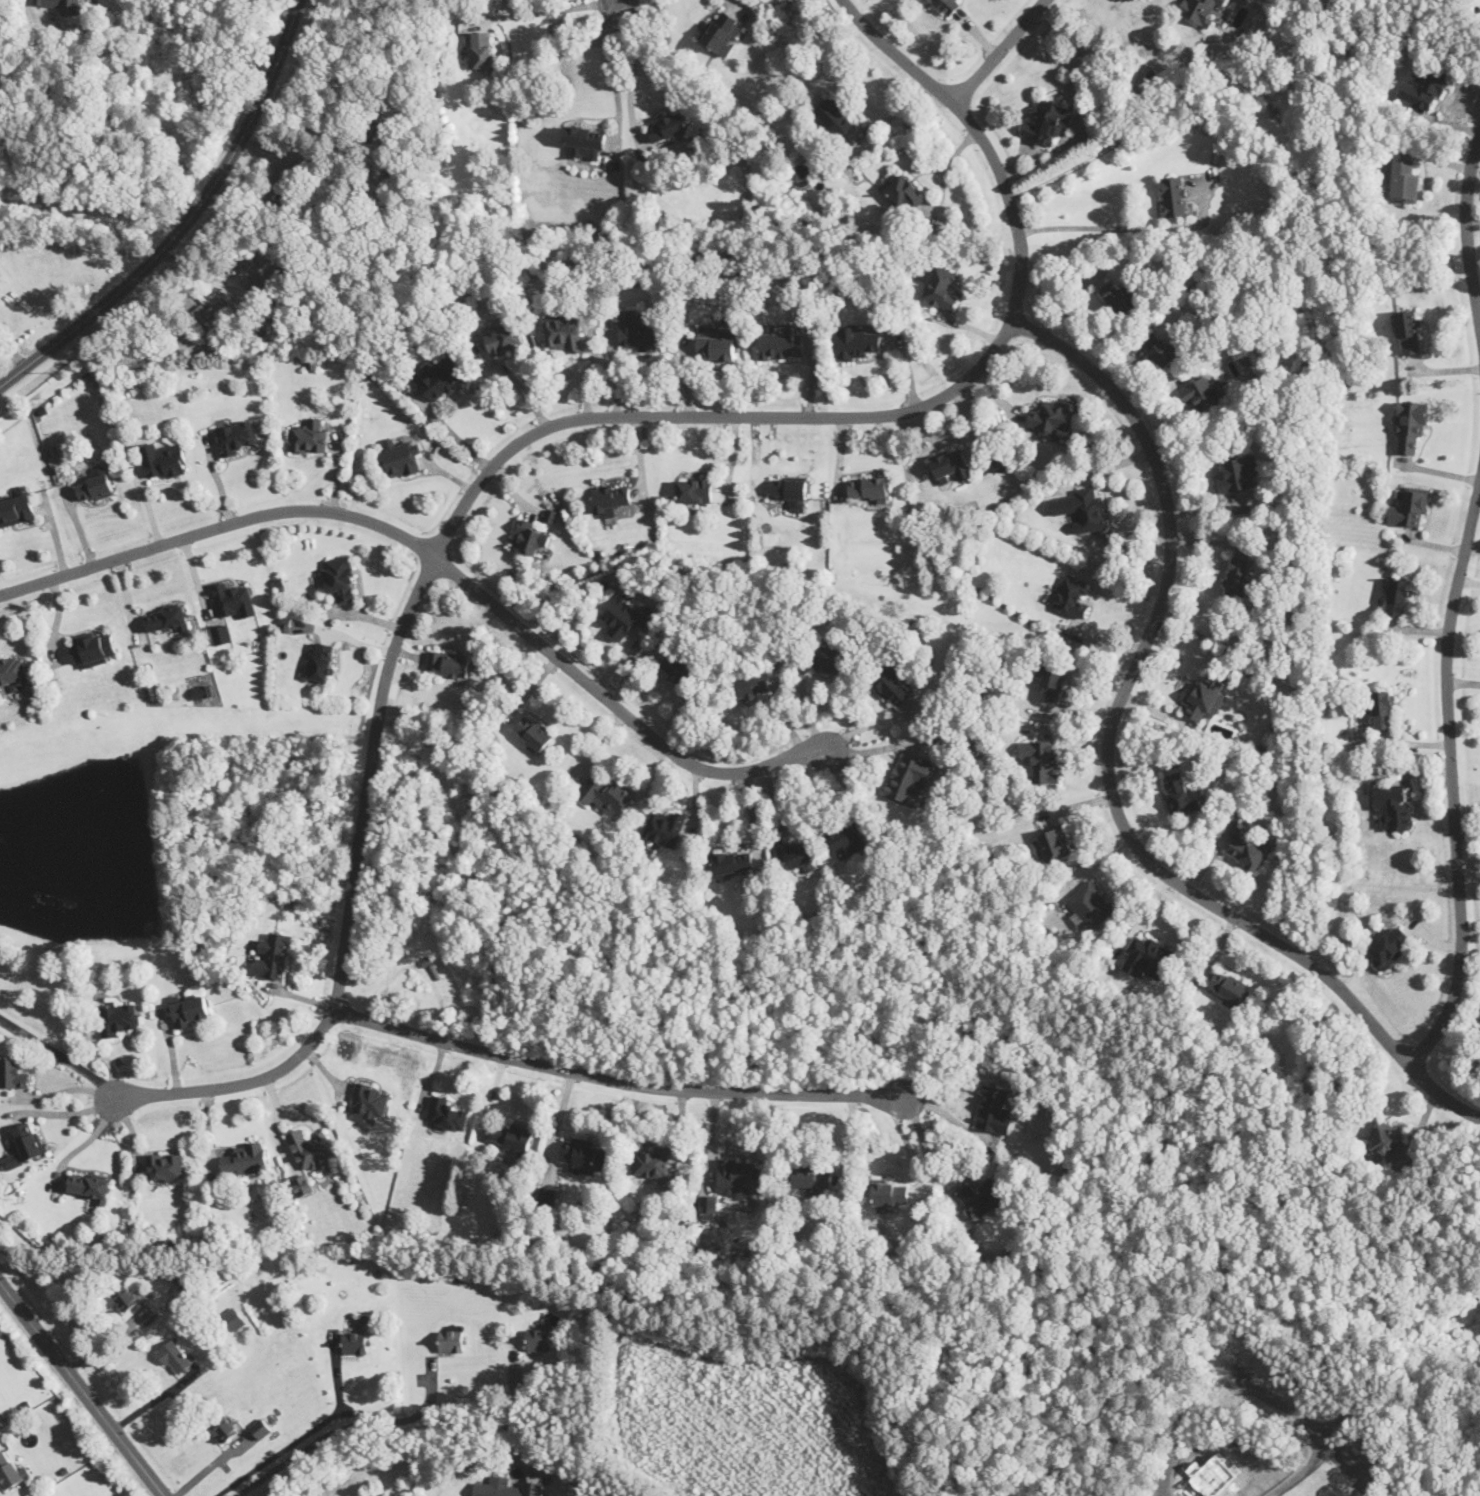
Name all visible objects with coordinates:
road: (737, 2)
building: (58, 4)
building: (947, 6)
building: (1200, 10)
road: (549, 11)
building: (722, 31)
building: (481, 49)
road: (999, 51)
road: (632, 70)
building: (1424, 87)
road: (894, 113)
building: (835, 119)
building: (1046, 121)
building: (668, 126)
building: (585, 141)
building: (807, 167)
building: (1404, 180)
road: (274, 188)
building: (906, 192)
building: (1175, 195)
road: (83, 210)
road: (185, 221)
road: (1121, 228)
road: (1466, 228)
building: (253, 271)
building: (939, 286)
building: (1117, 298)
building: (201, 314)
building: (639, 331)
building: (1409, 331)
building: (564, 333)
building: (504, 339)
building: (782, 341)
building: (856, 341)
building: (716, 342)
building: (1159, 347)
building: (439, 377)
building: (1203, 393)
building: (1051, 419)
building: (1410, 424)
road: (547, 426)
road: (453, 433)
building: (237, 436)
building: (308, 436)
building: (401, 458)
building: (164, 459)
building: (951, 464)
building: (999, 464)
building: (1236, 474)
building: (95, 487)
building: (868, 487)
building: (791, 489)
building: (694, 490)
building: (610, 498)
building: (1410, 506)
building: (16, 508)
building: (1084, 508)
building: (530, 539)
road: (443, 562)
building: (1238, 577)
building: (340, 578)
building: (1073, 596)
building: (1398, 596)
building: (234, 599)
building: (621, 616)
building: (165, 617)
building: (297, 625)
building: (220, 633)
building: (92, 648)
building: (832, 656)
building: (323, 661)
building: (448, 663)
building: (678, 669)
building: (12, 673)
building: (1053, 681)
building: (751, 686)
building: (891, 686)
building: (202, 691)
building: (1205, 695)
building: (1381, 707)
building: (534, 732)
building: (1041, 760)
road: (1109, 765)
road: (1452, 775)
building: (908, 776)
building: (604, 791)
building: (1180, 794)
building: (1392, 806)
building: (665, 827)
building: (847, 839)
building: (1052, 842)
building: (1245, 847)
building: (796, 854)
building: (733, 862)
building: (1090, 904)
building: (1388, 947)
building: (273, 955)
building: (1146, 955)
building: (1229, 985)
building: (189, 1008)
building: (118, 1017)
building: (13, 1074)
road: (615, 1080)
road: (68, 1088)
building: (368, 1101)
building: (993, 1109)
road: (71, 1112)
building: (447, 1113)
building: (513, 1135)
building: (1386, 1139)
road: (88, 1140)
building: (25, 1144)
building: (311, 1148)
road: (925, 1148)
building: (585, 1156)
building: (245, 1159)
building: (651, 1161)
building: (166, 1165)
building: (813, 1175)
building: (736, 1178)
building: (303, 1185)
building: (88, 1186)
building: (889, 1194)
building: (547, 1195)
building: (981, 1197)
building: (708, 1205)
building: (125, 1297)
building: (233, 1319)
building: (543, 1334)
building: (452, 1341)
building: (355, 1342)
building: (174, 1355)
road: (82, 1390)
road: (352, 1422)
building: (224, 1428)
building: (261, 1428)
road: (1305, 1464)
road: (208, 1469)
building: (11, 1470)
building: (508, 1487)

